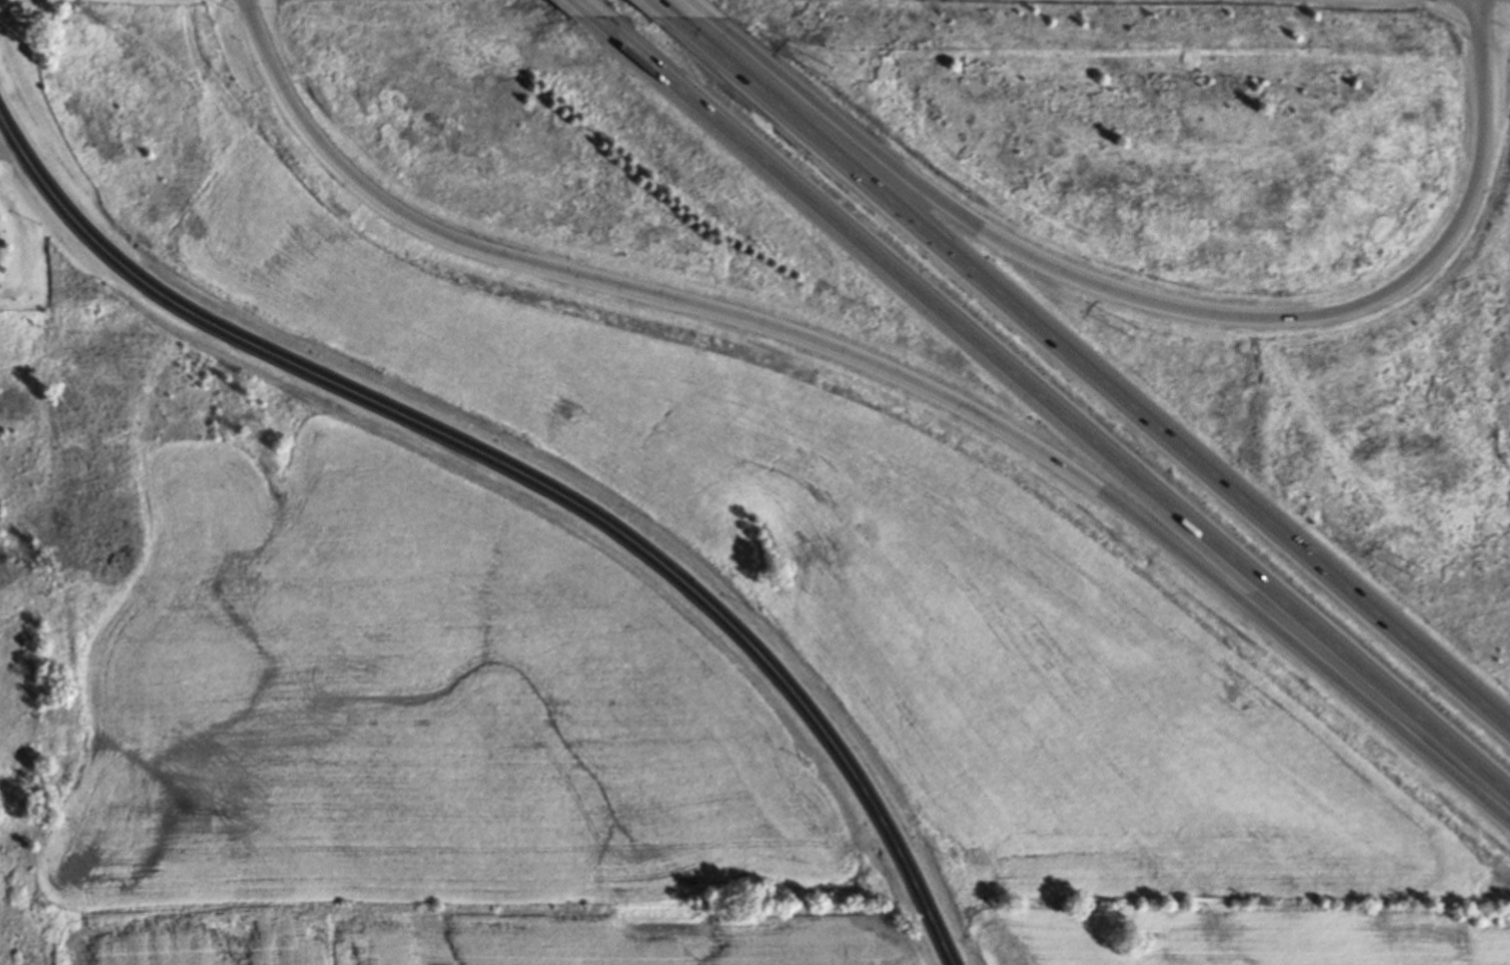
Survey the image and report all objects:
road: (666, 6)
road: (586, 7)
road: (703, 7)
power tower: (829, 72)
road: (5, 138)
road: (1176, 303)
power tower: (1130, 331)
road: (1092, 365)
road: (882, 366)
road: (1051, 404)
road: (533, 479)
power tower: (1418, 565)

